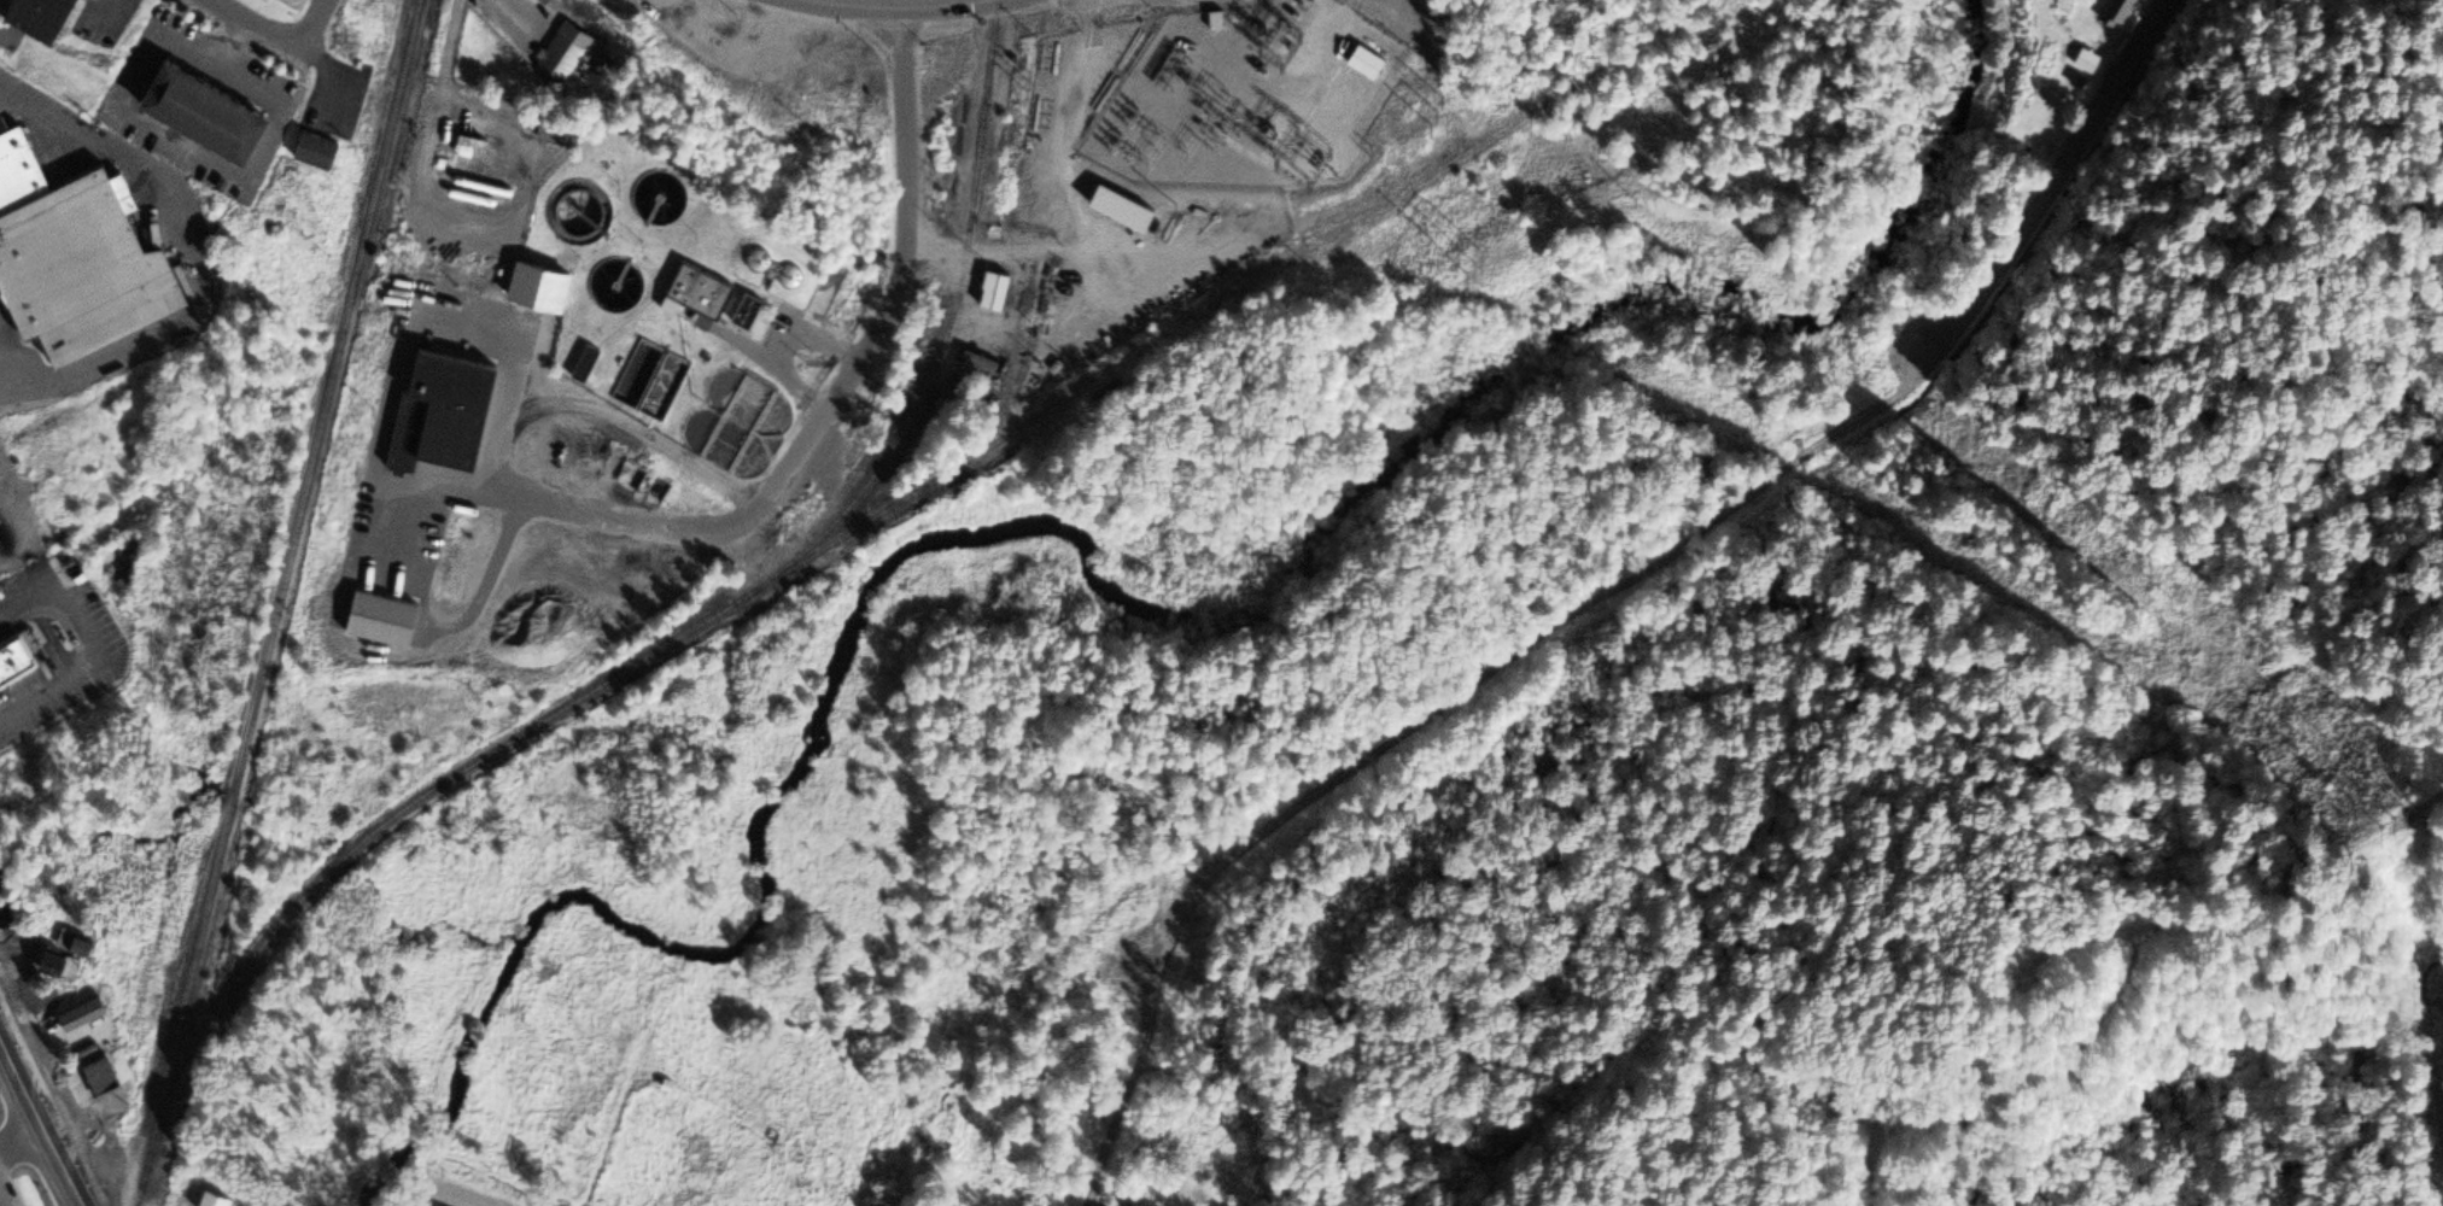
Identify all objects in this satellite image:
road: (902, 6)
building: (2122, 12)
building: (46, 17)
road: (501, 22)
road: (271, 31)
building: (565, 54)
building: (2088, 63)
power substation: (1250, 98)
building: (216, 110)
building: (556, 130)
building: (474, 150)
building: (321, 154)
road: (2039, 192)
power tower: (1643, 199)
building: (1127, 207)
building: (585, 230)
building: (76, 257)
power tower: (1478, 270)
building: (619, 289)
building: (703, 292)
building: (998, 292)
wastewater plant: (690, 293)
railway: (941, 346)
road: (12, 359)
building: (452, 404)
railway: (875, 521)
railway: (279, 602)
river: (1243, 613)
building: (378, 615)
building: (16, 658)
road: (1413, 727)
power tower: (2395, 766)
power tower: (2406, 819)
building: (69, 953)
building: (86, 1014)
river: (474, 1041)
building: (104, 1075)
road: (42, 1117)
river: (386, 1167)
building: (217, 1199)

